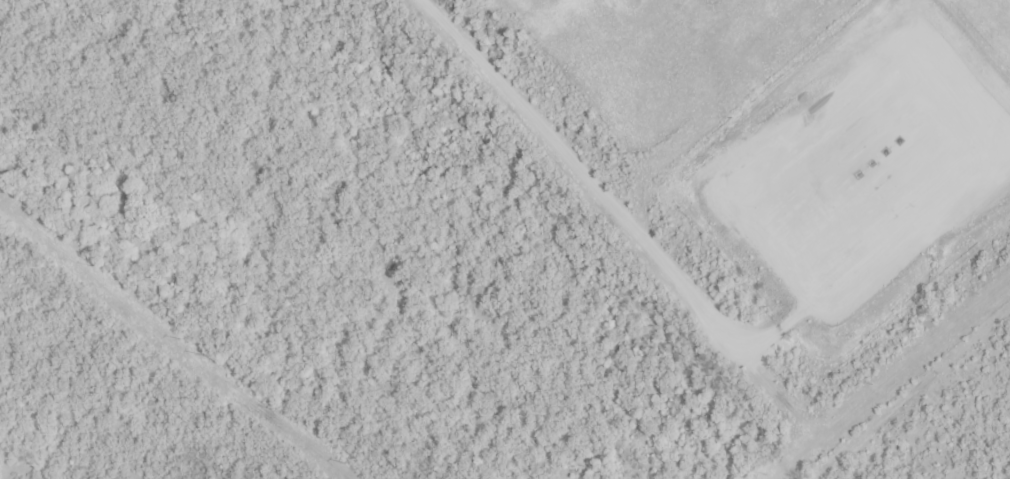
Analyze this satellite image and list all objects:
road: (619, 218)

